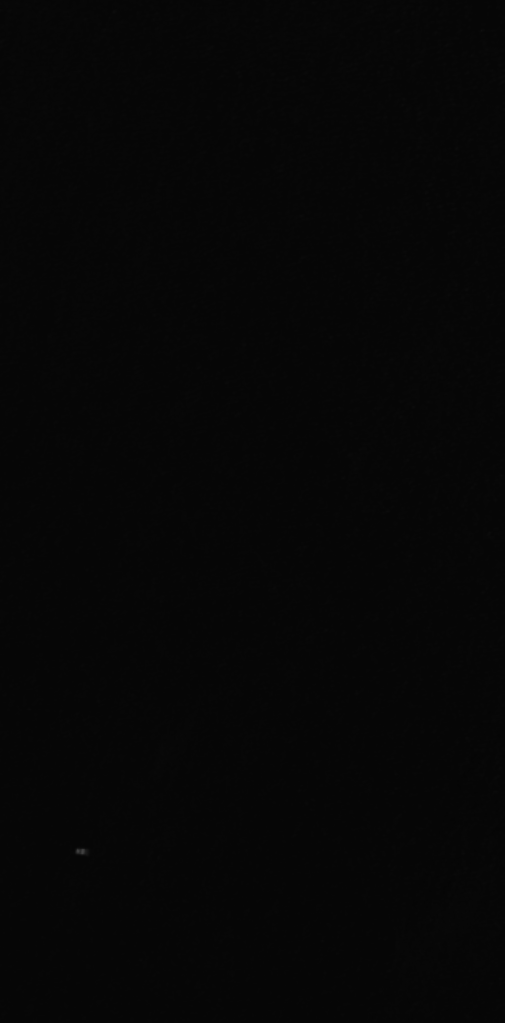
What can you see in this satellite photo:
park: (252, 511)

